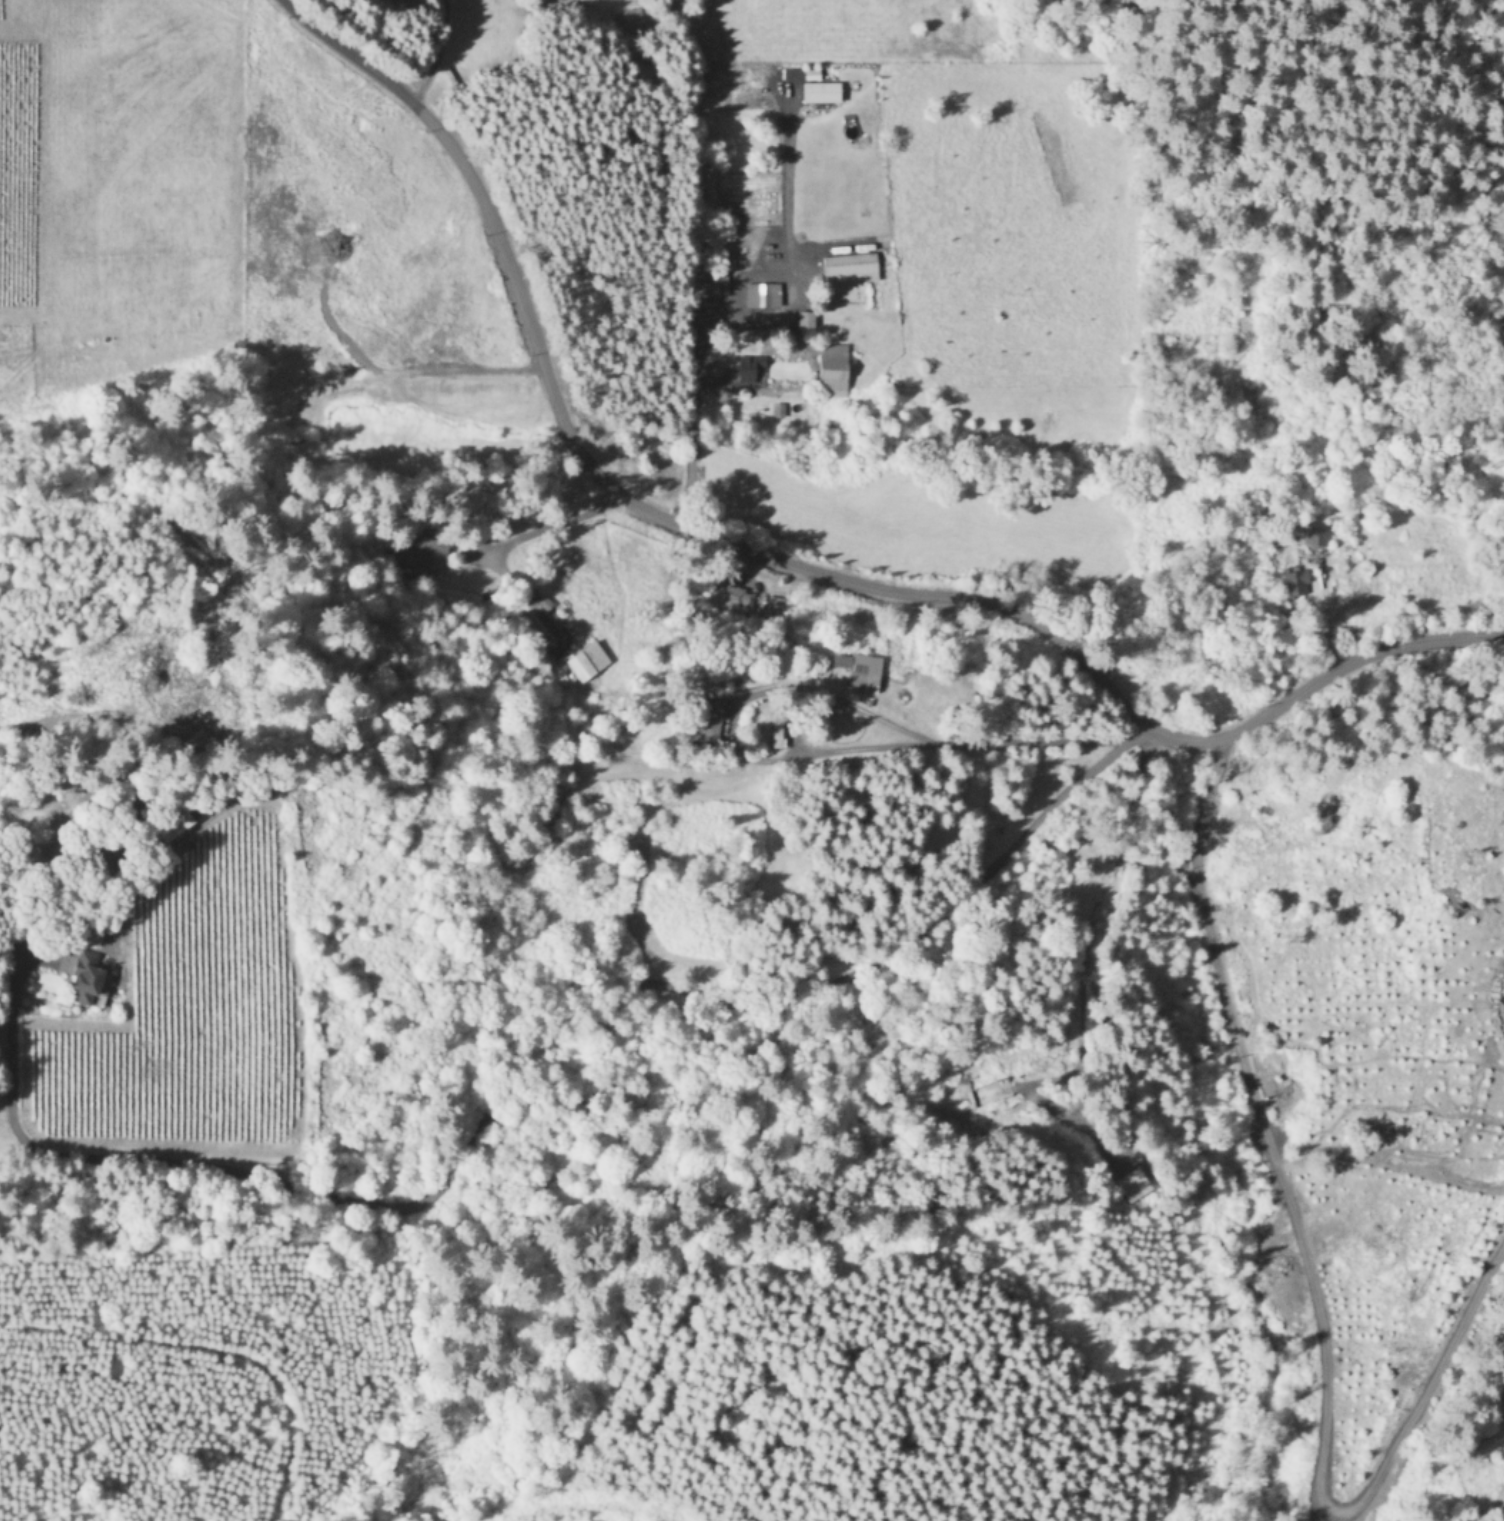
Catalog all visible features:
road: (437, 55)
building: (820, 90)
building: (850, 267)
building: (762, 293)
building: (805, 317)
road: (744, 326)
building: (748, 365)
building: (833, 368)
road: (558, 520)
building: (1315, 531)
road: (784, 561)
building: (1295, 579)
building: (587, 659)
building: (859, 668)
road: (788, 689)
building: (708, 718)
building: (776, 729)
road: (957, 744)
building: (174, 827)
road: (1092, 926)
road: (518, 1058)
building: (1134, 1182)
road: (1309, 1282)

